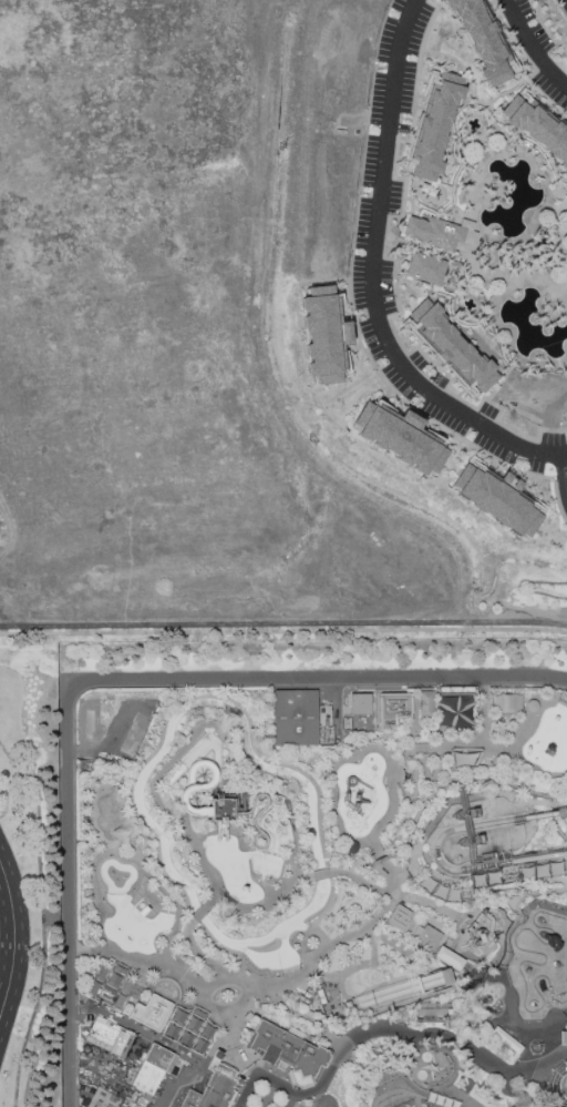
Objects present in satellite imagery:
road: (566, 1)
building: (481, 39)
road: (532, 48)
parking lot: (536, 50)
building: (434, 128)
building: (536, 129)
building: (466, 224)
building: (434, 233)
parking lot: (370, 235)
building: (470, 237)
building: (460, 246)
building: (426, 268)
road: (373, 278)
building: (324, 334)
road: (400, 342)
building: (450, 347)
road: (436, 424)
building: (401, 435)
road: (565, 457)
road: (564, 476)
building: (499, 498)
road: (518, 589)
road: (283, 624)
road: (283, 631)
road: (107, 681)
building: (424, 703)
building: (360, 704)
building: (393, 709)
building: (454, 712)
building: (296, 720)
building: (549, 739)
road: (380, 750)
road: (171, 763)
building: (220, 809)
theme park: (269, 837)
road: (375, 837)
road: (295, 843)
theme park: (312, 873)
road: (321, 875)
road: (359, 882)
road: (212, 902)
road: (225, 903)
road: (198, 915)
building: (399, 918)
road: (42, 920)
road: (7, 936)
building: (429, 940)
road: (27, 945)
road: (75, 954)
building: (450, 958)
road: (148, 966)
road: (240, 982)
building: (107, 989)
road: (215, 1001)
building: (151, 1014)
building: (566, 1029)
building: (188, 1030)
road: (384, 1033)
building: (109, 1037)
building: (563, 1039)
road: (159, 1047)
toll booth: (234, 1048)
building: (290, 1053)
road: (456, 1064)
road: (429, 1067)
building: (153, 1072)
building: (215, 1086)
building: (563, 1087)
road: (517, 1094)
building: (105, 1099)
road: (450, 1099)
road: (429, 1104)
road: (429, 1106)

